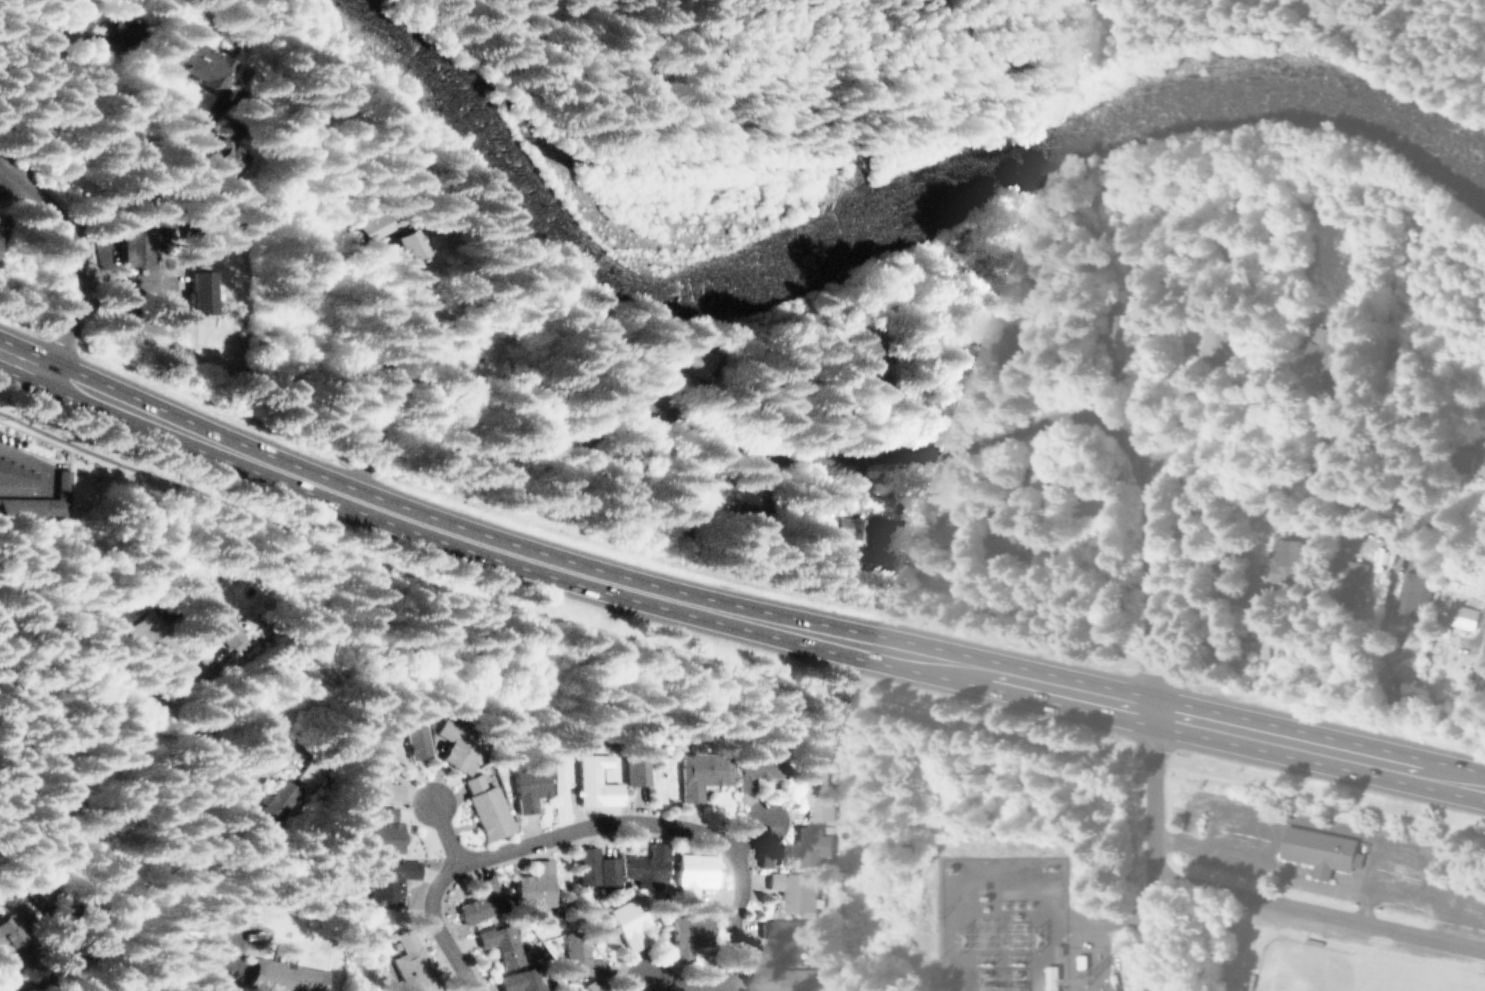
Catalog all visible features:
building: (1344, 2)
building: (111, 31)
building: (190, 67)
building: (217, 159)
road: (87, 180)
road: (147, 208)
building: (353, 227)
river: (881, 238)
building: (393, 247)
building: (132, 249)
road: (75, 257)
building: (201, 294)
road: (1347, 314)
building: (974, 321)
road: (1346, 333)
building: (1123, 337)
building: (1224, 337)
building: (1329, 349)
building: (849, 357)
building: (674, 360)
road: (1062, 416)
road: (378, 423)
building: (1470, 461)
building: (15, 474)
building: (689, 488)
building: (57, 498)
building: (862, 529)
building: (945, 530)
building: (1017, 544)
building: (1286, 558)
building: (1096, 564)
road: (1214, 569)
road: (1151, 580)
building: (1353, 583)
building: (1411, 595)
road: (729, 611)
building: (1459, 616)
building: (149, 623)
building: (228, 630)
building: (1262, 649)
road: (77, 692)
building: (409, 729)
building: (461, 747)
building: (758, 766)
building: (637, 769)
building: (703, 772)
building: (311, 774)
building: (380, 778)
building: (594, 782)
building: (529, 784)
building: (812, 788)
road: (564, 791)
building: (279, 804)
building: (83, 805)
building: (487, 806)
road: (594, 829)
building: (379, 831)
road: (446, 833)
road: (751, 834)
building: (808, 844)
building: (1316, 849)
road: (1154, 850)
road: (1275, 863)
building: (590, 864)
building: (645, 864)
building: (691, 871)
building: (388, 880)
building: (535, 885)
building: (793, 887)
building: (65, 896)
building: (482, 902)
building: (245, 907)
road: (1319, 911)
building: (629, 920)
power substation: (1002, 923)
building: (26, 928)
building: (686, 932)
building: (781, 936)
building: (501, 940)
building: (579, 955)
building: (413, 964)
park: (1323, 967)
building: (288, 976)
building: (804, 976)
building: (520, 978)
park: (1478, 983)
road: (695, 984)
building: (593, 986)

